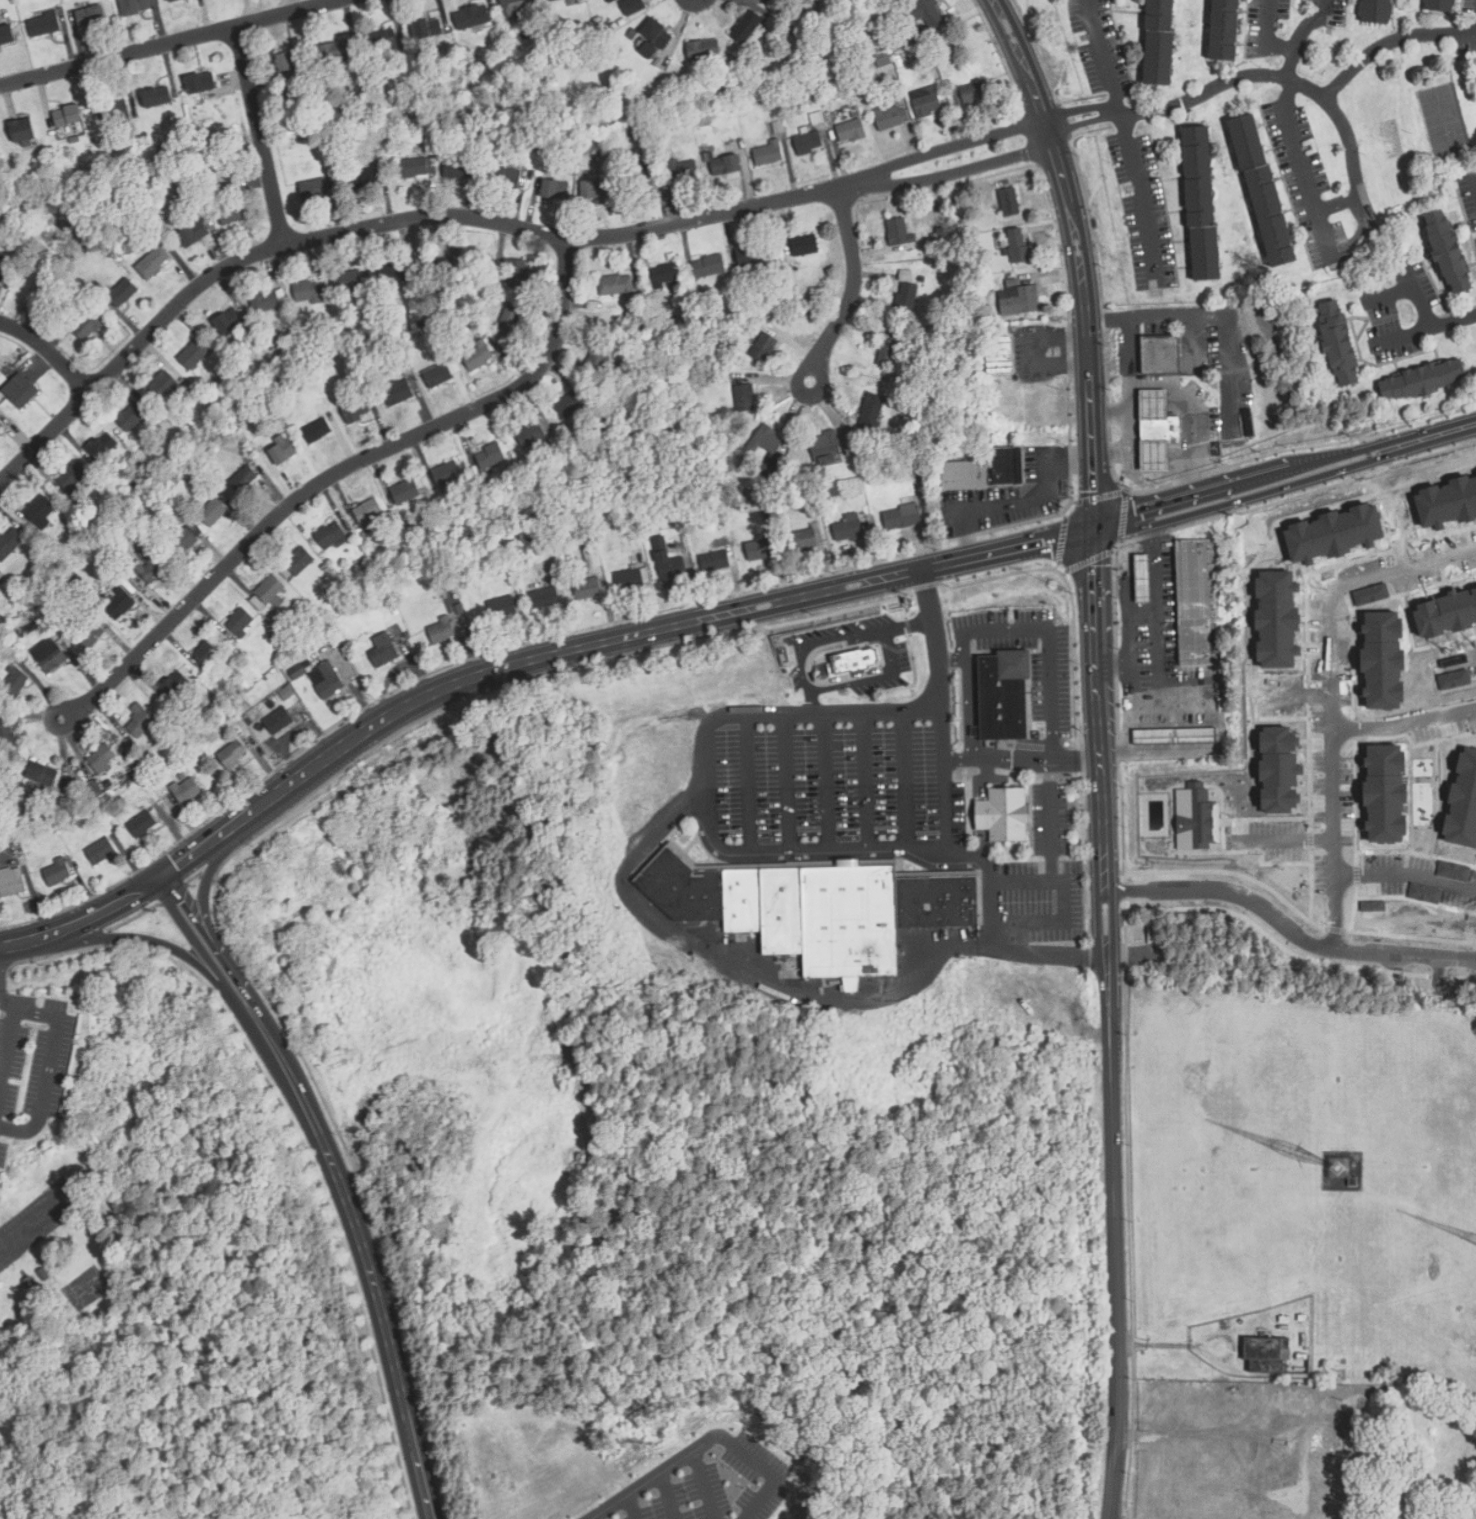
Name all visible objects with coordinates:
building: (173, 1)
building: (554, 1)
building: (612, 1)
building: (138, 5)
building: (1439, 5)
building: (516, 9)
building: (929, 10)
building: (1377, 12)
building: (92, 17)
building: (473, 18)
building: (802, 20)
building: (598, 21)
building: (45, 25)
road: (1312, 26)
building: (747, 28)
building: (428, 31)
building: (1224, 31)
road: (1271, 32)
building: (7, 35)
building: (658, 35)
building: (382, 42)
building: (1158, 42)
road: (169, 43)
road: (1390, 43)
building: (566, 46)
building: (704, 51)
building: (336, 53)
road: (1103, 55)
building: (884, 59)
road: (1021, 60)
building: (292, 62)
building: (486, 62)
road: (1292, 65)
road: (1282, 78)
building: (202, 84)
building: (948, 85)
building: (807, 91)
building: (538, 94)
building: (975, 95)
building: (157, 98)
building: (751, 103)
building: (927, 107)
road: (1082, 109)
building: (114, 112)
building: (856, 113)
building: (68, 117)
building: (817, 119)
building: (889, 120)
road: (1084, 122)
building: (644, 123)
building: (779, 128)
building: (22, 131)
building: (852, 132)
building: (232, 136)
road: (260, 137)
building: (586, 137)
building: (808, 145)
building: (246, 152)
building: (769, 155)
road: (1300, 165)
building: (726, 167)
building: (415, 169)
building: (459, 171)
building: (683, 172)
building: (76, 178)
building: (507, 178)
building: (365, 181)
building: (639, 181)
building: (313, 191)
road: (1138, 191)
building: (555, 192)
building: (595, 192)
building: (1263, 192)
road: (1338, 203)
building: (1010, 204)
building: (1202, 205)
building: (234, 212)
road: (483, 219)
building: (942, 229)
building: (898, 233)
building: (194, 235)
building: (142, 240)
building: (1015, 246)
building: (805, 248)
building: (1447, 252)
building: (754, 257)
building: (976, 257)
building: (153, 263)
building: (44, 268)
building: (709, 268)
building: (4, 269)
building: (437, 270)
building: (516, 274)
building: (392, 275)
building: (665, 277)
building: (1002, 277)
building: (923, 281)
building: (349, 284)
road: (854, 284)
building: (617, 288)
building: (727, 293)
road: (1389, 293)
building: (122, 294)
building: (307, 294)
road: (1416, 296)
building: (907, 299)
building: (1020, 301)
building: (265, 302)
building: (471, 306)
building: (594, 307)
building: (714, 312)
road: (1215, 313)
building: (229, 322)
road: (1454, 322)
building: (510, 323)
road: (1087, 325)
building: (90, 326)
building: (647, 328)
building: (401, 332)
road: (1403, 334)
building: (271, 337)
building: (345, 338)
building: (452, 338)
building: (1338, 344)
building: (764, 350)
road: (49, 352)
building: (888, 355)
building: (194, 356)
building: (1162, 356)
building: (1000, 357)
building: (478, 358)
building: (358, 363)
building: (596, 366)
building: (438, 377)
building: (35, 378)
building: (1423, 380)
building: (5, 383)
building: (164, 387)
building: (397, 393)
building: (24, 394)
building: (745, 400)
building: (1151, 402)
road: (1130, 404)
road: (1185, 404)
building: (569, 406)
road: (1111, 411)
building: (355, 412)
building: (871, 416)
building: (133, 418)
building: (242, 421)
building: (1249, 423)
building: (1, 427)
building: (1159, 427)
building: (317, 433)
building: (530, 436)
building: (766, 442)
building: (277, 443)
building: (824, 447)
building: (104, 448)
building: (893, 451)
building: (283, 453)
building: (1152, 453)
building: (901, 456)
building: (490, 458)
building: (743, 464)
building: (1005, 464)
building: (771, 471)
road: (338, 472)
road: (1166, 474)
building: (447, 475)
building: (963, 475)
building: (72, 478)
building: (244, 480)
road: (1286, 481)
building: (135, 488)
building: (834, 488)
building: (405, 494)
building: (1441, 505)
building: (40, 511)
building: (213, 512)
building: (367, 513)
building: (768, 514)
building: (902, 516)
building: (847, 527)
traffic signals: (1096, 532)
building: (1333, 533)
building: (589, 535)
building: (329, 537)
building: (803, 539)
building: (185, 544)
building: (10, 545)
building: (107, 545)
building: (759, 549)
building: (592, 556)
building: (300, 562)
building: (365, 562)
building: (715, 563)
building: (670, 564)
building: (150, 565)
building: (76, 578)
building: (632, 581)
building: (1143, 581)
building: (270, 590)
building: (588, 590)
building: (458, 595)
road: (1155, 598)
building: (544, 600)
building: (1196, 602)
building: (121, 605)
building: (258, 606)
building: (291, 610)
building: (502, 610)
building: (460, 612)
building: (1446, 613)
building: (1276, 619)
building: (3, 620)
building: (240, 624)
road: (1043, 627)
building: (279, 629)
building: (442, 632)
building: (92, 636)
building: (407, 637)
road: (601, 643)
building: (307, 647)
building: (386, 649)
building: (208, 653)
building: (1382, 659)
building: (854, 660)
road: (1345, 660)
building: (53, 661)
building: (298, 674)
building: (16, 681)
building: (326, 682)
building: (176, 686)
building: (1003, 694)
road: (1130, 704)
road: (969, 707)
road: (1411, 718)
building: (280, 722)
building: (141, 724)
building: (7, 738)
building: (1175, 739)
building: (137, 749)
building: (233, 756)
building: (102, 758)
road: (998, 758)
road: (1077, 758)
building: (131, 767)
building: (1279, 770)
building: (43, 775)
building: (182, 777)
road: (909, 777)
road: (867, 778)
road: (828, 779)
road: (790, 780)
building: (187, 791)
building: (1385, 793)
building: (1463, 802)
building: (65, 804)
building: (124, 813)
building: (1006, 814)
building: (119, 817)
building: (1196, 817)
building: (142, 826)
road: (1051, 831)
road: (1296, 834)
building: (83, 845)
road: (796, 846)
building: (101, 853)
road: (1411, 867)
building: (1453, 871)
building: (58, 873)
traffic signals: (160, 879)
building: (11, 881)
road: (990, 883)
building: (1424, 893)
road: (1068, 901)
building: (1373, 905)
road: (1345, 908)
building: (815, 909)
road: (105, 910)
road: (1287, 931)
building: (1152, 937)
road: (158, 939)
road: (204, 941)
road: (24, 942)
road: (1, 987)
road: (793, 988)
road: (1111, 1025)
road: (12, 1030)
road: (2, 1068)
road: (49, 1070)
road: (2, 1080)
road: (298, 1137)
building: (1353, 1184)
road: (36, 1221)
road: (363, 1252)
building: (26, 1282)
building: (1265, 1355)
road: (704, 1442)
road: (706, 1484)
parking lot: (722, 1484)
road: (671, 1495)
road: (634, 1506)
road: (595, 1517)

